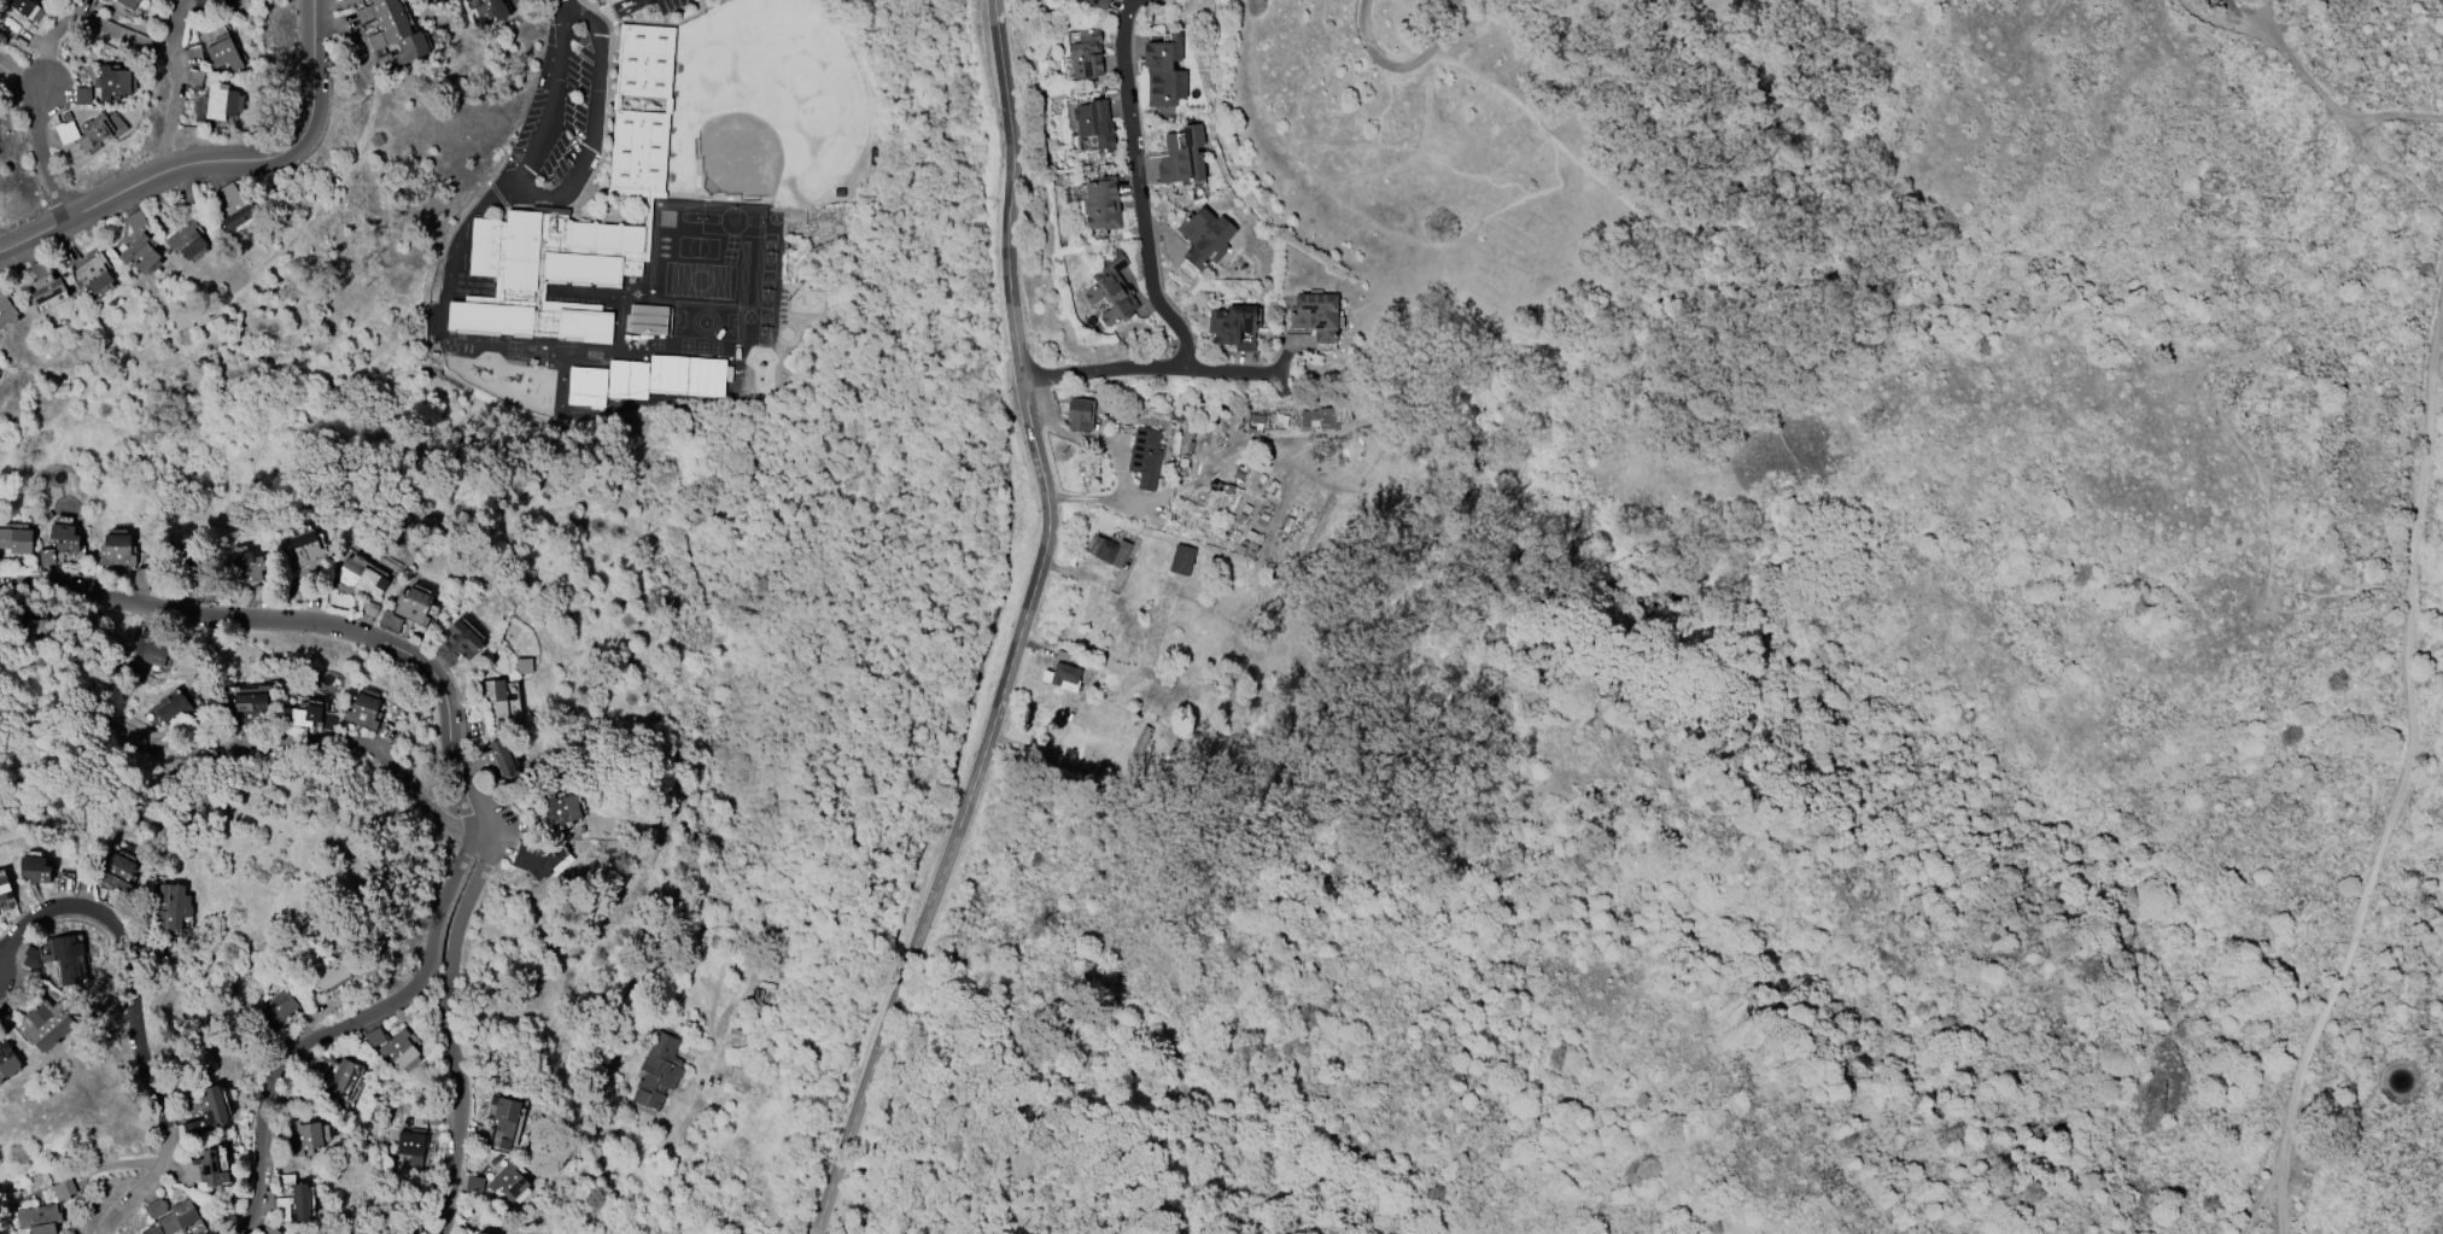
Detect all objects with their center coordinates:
building: (224, 0)
building: (349, 2)
building: (1099, 2)
building: (128, 4)
building: (24, 7)
road: (607, 8)
building: (491, 10)
road: (575, 11)
road: (92, 22)
road: (1364, 22)
road: (2215, 22)
building: (391, 33)
building: (223, 53)
building: (1085, 53)
road: (22, 69)
building: (1164, 71)
building: (194, 80)
building: (113, 82)
road: (171, 88)
parking lot: (578, 93)
road: (548, 94)
building: (82, 95)
road: (2330, 100)
building: (222, 101)
building: (667, 104)
building: (200, 107)
building: (1094, 123)
road: (591, 128)
building: (94, 131)
building: (1086, 144)
road: (45, 154)
park: (742, 157)
building: (1181, 157)
road: (214, 162)
road: (1142, 192)
building: (1101, 204)
building: (235, 207)
building: (1204, 238)
building: (186, 240)
building: (139, 253)
building: (544, 273)
building: (93, 274)
building: (43, 283)
building: (1111, 290)
building: (5, 308)
building: (1316, 316)
building: (647, 320)
building: (1234, 327)
building: (667, 374)
building: (706, 378)
road: (1152, 378)
building: (618, 379)
building: (637, 380)
building: (586, 386)
building: (1079, 414)
building: (1333, 417)
building: (1144, 457)
power tower: (852, 486)
road: (614, 505)
building: (63, 537)
building: (16, 540)
building: (116, 549)
building: (305, 549)
building: (1109, 551)
building: (1181, 560)
building: (245, 566)
building: (360, 575)
building: (411, 606)
road: (329, 626)
road: (1021, 627)
building: (457, 643)
building: (150, 648)
building: (1062, 677)
building: (495, 702)
building: (249, 707)
building: (173, 709)
building: (362, 712)
building: (302, 715)
road: (369, 748)
building: (498, 758)
road: (2409, 780)
building: (561, 811)
building: (536, 859)
building: (35, 870)
building: (116, 872)
building: (4, 889)
building: (173, 906)
building: (65, 958)
building: (331, 973)
building: (276, 1008)
road: (136, 1016)
building: (47, 1025)
road: (449, 1031)
road: (318, 1042)
building: (398, 1049)
building: (7, 1060)
building: (656, 1071)
building: (332, 1072)
building: (0, 1080)
building: (211, 1106)
building: (499, 1124)
building: (304, 1136)
building: (410, 1146)
road: (673, 1164)
building: (201, 1170)
power tower: (1030, 1170)
building: (507, 1181)
building: (474, 1185)
building: (64, 1189)
building: (292, 1205)
building: (40, 1220)
building: (175, 1220)
building: (270, 1229)
building: (480, 1233)

